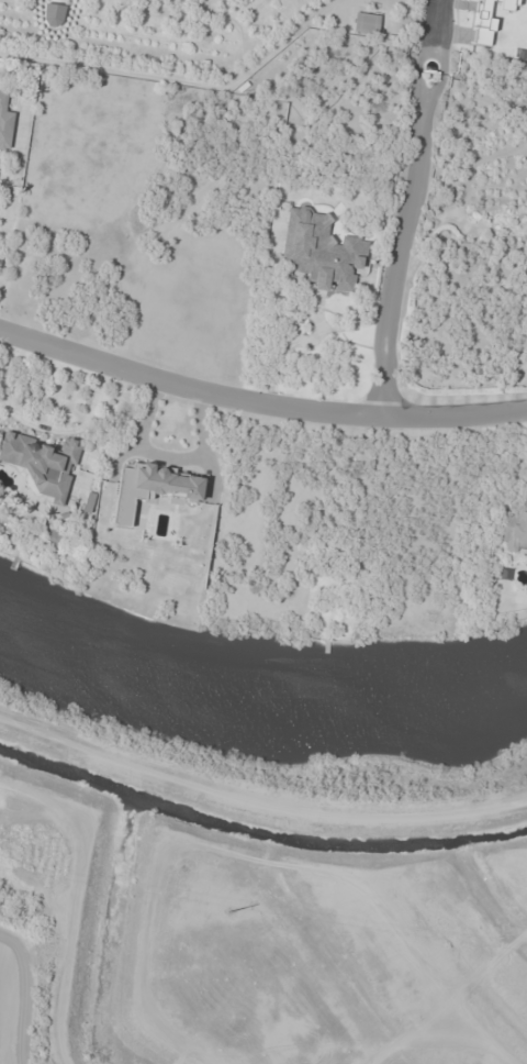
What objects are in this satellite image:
building: (53, 14)
building: (4, 122)
road: (408, 208)
building: (321, 251)
road: (258, 404)
building: (42, 463)
building: (515, 531)
building: (53, 536)
river: (258, 692)
river: (65, 771)

